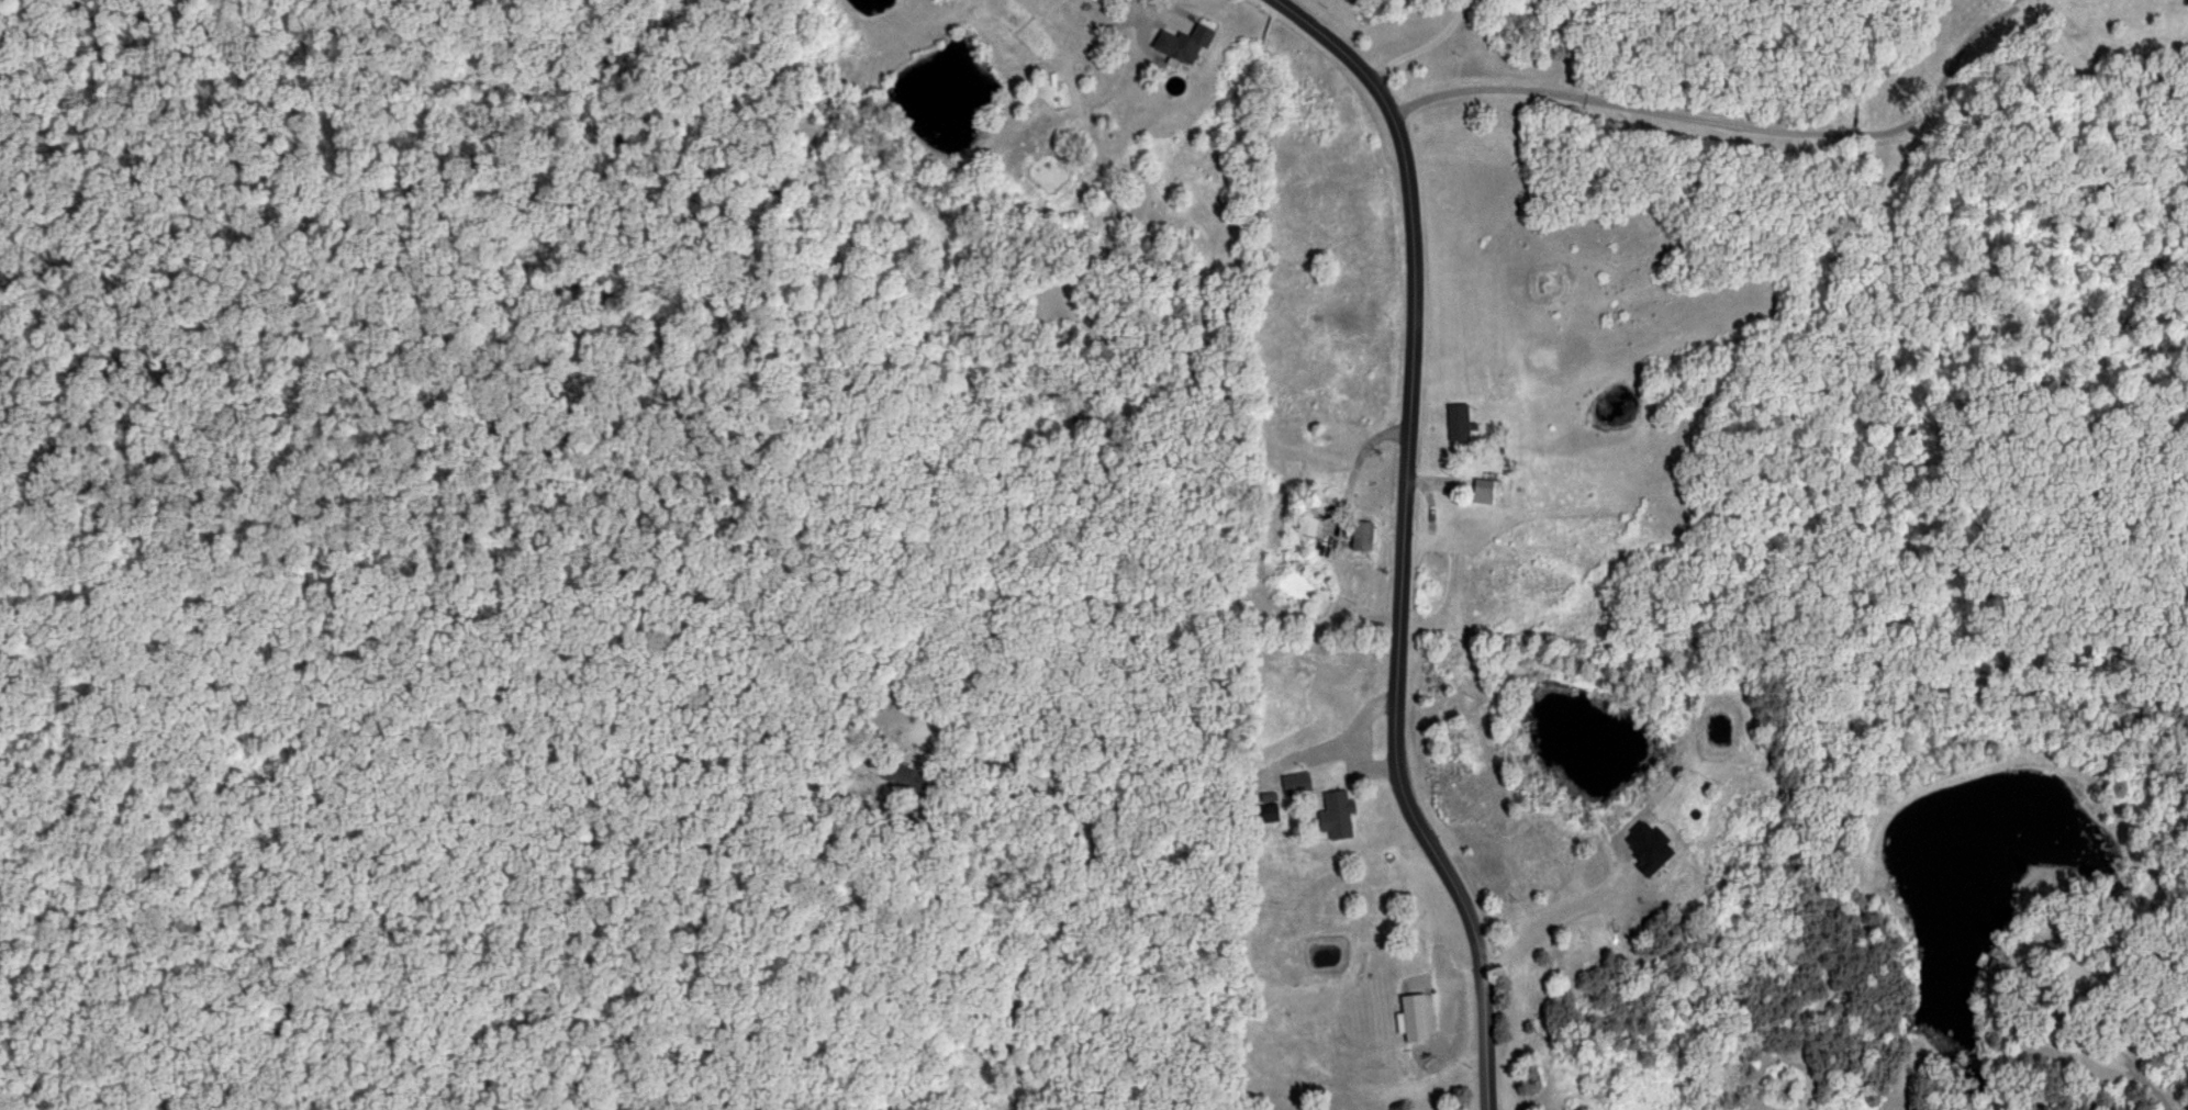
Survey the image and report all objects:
road: (1424, 48)
road: (1729, 121)
building: (1461, 423)
building: (1487, 492)
building: (1310, 518)
building: (1362, 536)
road: (1400, 538)
building: (1297, 783)
building: (1272, 812)
building: (1339, 815)
building: (1534, 864)
road: (1078, 883)
road: (1547, 920)
building: (2056, 946)
building: (1417, 1017)

